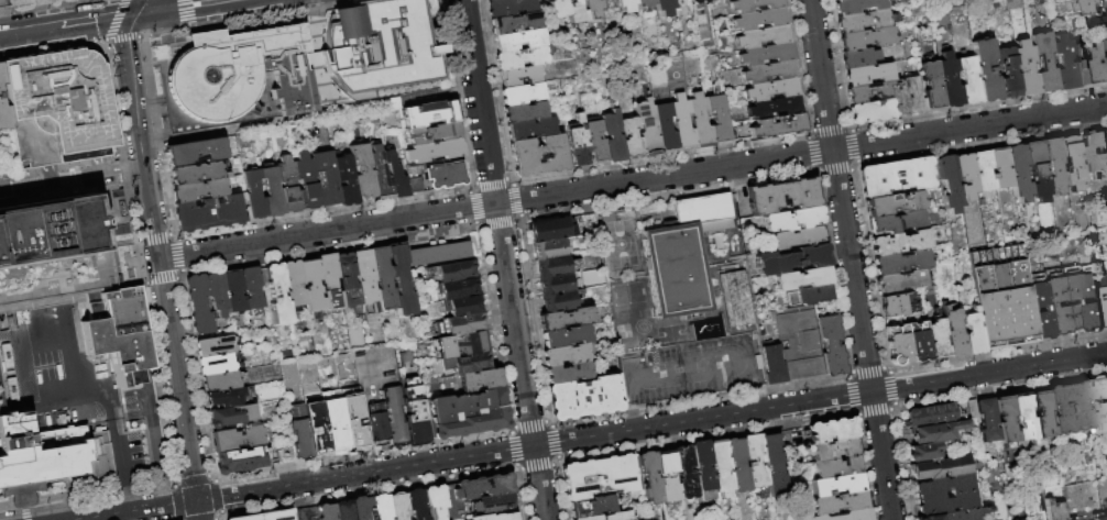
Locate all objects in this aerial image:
building: (491, 0)
building: (30, 2)
building: (699, 2)
building: (4, 3)
building: (610, 4)
building: (645, 4)
building: (628, 5)
building: (756, 5)
building: (857, 5)
road: (45, 7)
building: (1093, 7)
road: (144, 8)
road: (184, 8)
building: (506, 8)
building: (592, 8)
building: (665, 8)
building: (557, 9)
road: (185, 12)
building: (576, 12)
road: (277, 14)
traffic signals: (138, 15)
road: (109, 19)
road: (114, 20)
building: (761, 20)
building: (863, 22)
building: (1100, 22)
building: (513, 23)
road: (41, 31)
road: (165, 32)
building: (765, 37)
road: (123, 38)
building: (866, 40)
building: (518, 41)
building: (381, 48)
road: (52, 49)
building: (767, 55)
building: (520, 58)
building: (859, 58)
building: (1044, 63)
building: (1065, 63)
building: (1101, 64)
building: (1084, 66)
building: (1026, 69)
building: (985, 70)
building: (237, 73)
building: (770, 73)
building: (1008, 73)
building: (869, 75)
building: (520, 77)
building: (950, 81)
building: (968, 81)
building: (933, 86)
building: (774, 89)
building: (869, 91)
building: (520, 95)
building: (908, 97)
building: (58, 108)
building: (777, 108)
building: (2, 109)
building: (872, 111)
building: (524, 113)
building: (431, 114)
building: (721, 120)
building: (682, 123)
building: (647, 128)
building: (779, 128)
building: (666, 129)
building: (530, 130)
building: (436, 133)
building: (614, 137)
building: (632, 139)
road: (120, 141)
building: (596, 142)
building: (579, 143)
building: (196, 152)
building: (436, 152)
building: (1095, 154)
building: (538, 157)
building: (1072, 163)
building: (1054, 165)
building: (1001, 168)
building: (983, 170)
building: (363, 172)
building: (1038, 172)
building: (1019, 173)
building: (197, 174)
building: (381, 174)
road: (816, 174)
building: (445, 175)
road: (73, 176)
building: (966, 176)
building: (397, 177)
building: (896, 177)
building: (326, 179)
building: (347, 180)
road: (632, 181)
building: (305, 182)
building: (950, 184)
building: (287, 185)
building: (417, 186)
road: (2, 188)
building: (199, 190)
building: (272, 191)
building: (253, 195)
building: (783, 196)
building: (894, 204)
building: (209, 214)
building: (1100, 215)
building: (792, 220)
building: (896, 223)
building: (551, 231)
road: (176, 236)
road: (155, 237)
building: (799, 239)
building: (899, 243)
building: (548, 250)
road: (331, 251)
road: (156, 255)
road: (182, 255)
building: (439, 255)
building: (681, 257)
road: (140, 259)
road: (503, 259)
building: (792, 259)
road: (848, 259)
building: (900, 263)
building: (552, 267)
building: (453, 272)
road: (183, 273)
building: (74, 277)
road: (162, 279)
road: (179, 279)
building: (382, 279)
building: (803, 279)
road: (145, 280)
building: (365, 281)
building: (402, 281)
building: (901, 281)
building: (329, 283)
building: (294, 284)
building: (348, 284)
building: (556, 285)
building: (311, 286)
building: (251, 288)
building: (459, 289)
building: (233, 291)
building: (217, 295)
building: (277, 295)
building: (810, 296)
building: (1002, 297)
building: (737, 300)
building: (1105, 300)
building: (558, 302)
building: (1082, 303)
building: (1088, 303)
building: (199, 305)
building: (464, 306)
building: (897, 306)
building: (1053, 306)
building: (1044, 313)
building: (566, 319)
building: (461, 325)
building: (954, 333)
building: (973, 333)
building: (566, 336)
building: (938, 339)
road: (50, 342)
building: (801, 342)
building: (919, 343)
building: (212, 344)
building: (460, 345)
building: (899, 345)
building: (832, 346)
road: (998, 353)
building: (213, 363)
building: (468, 363)
building: (579, 365)
road: (661, 365)
road: (68, 366)
building: (774, 366)
road: (337, 368)
road: (888, 369)
road: (868, 370)
road: (852, 373)
road: (850, 378)
road: (158, 380)
building: (219, 380)
building: (482, 380)
road: (656, 383)
road: (66, 387)
road: (894, 388)
road: (852, 395)
building: (223, 397)
building: (587, 398)
road: (112, 402)
building: (1098, 405)
road: (636, 408)
building: (1070, 408)
road: (895, 409)
building: (973, 410)
building: (415, 412)
road: (854, 412)
road: (875, 412)
building: (229, 414)
building: (469, 414)
building: (1042, 414)
road: (858, 416)
building: (395, 417)
building: (933, 417)
road: (366, 419)
building: (1023, 419)
building: (353, 420)
building: (1005, 420)
building: (326, 421)
building: (987, 421)
building: (377, 423)
road: (550, 424)
road: (531, 425)
road: (651, 428)
road: (513, 430)
building: (832, 431)
building: (299, 433)
road: (731, 433)
building: (935, 433)
building: (237, 438)
road: (556, 443)
road: (515, 450)
building: (835, 450)
building: (285, 451)
building: (924, 453)
road: (121, 455)
building: (47, 456)
road: (363, 456)
building: (239, 458)
road: (559, 460)
building: (756, 461)
building: (702, 465)
building: (737, 465)
building: (774, 465)
road: (556, 466)
road: (537, 467)
building: (839, 467)
road: (518, 468)
building: (721, 468)
building: (940, 468)
building: (684, 473)
road: (210, 476)
building: (668, 476)
building: (602, 477)
building: (650, 477)
road: (191, 478)
road: (173, 482)
building: (836, 485)
road: (370, 491)
building: (474, 493)
road: (128, 494)
road: (85, 495)
road: (524, 495)
building: (946, 495)
road: (216, 497)
building: (435, 501)
building: (840, 502)
road: (173, 504)
building: (495, 504)
building: (416, 505)
road: (24, 507)
building: (381, 507)
building: (398, 507)
building: (593, 507)
building: (362, 509)
building: (1055, 509)
road: (135, 510)
road: (197, 510)
building: (343, 510)
building: (326, 511)
building: (307, 513)
road: (25, 515)
building: (962, 515)
building: (617, 516)
building: (845, 516)
road: (220, 517)
building: (267, 517)
building: (497, 517)
building: (1097, 517)
building: (589, 518)
building: (1105, 518)
road: (176, 519)
road: (220, 519)
building: (1071, 519)

